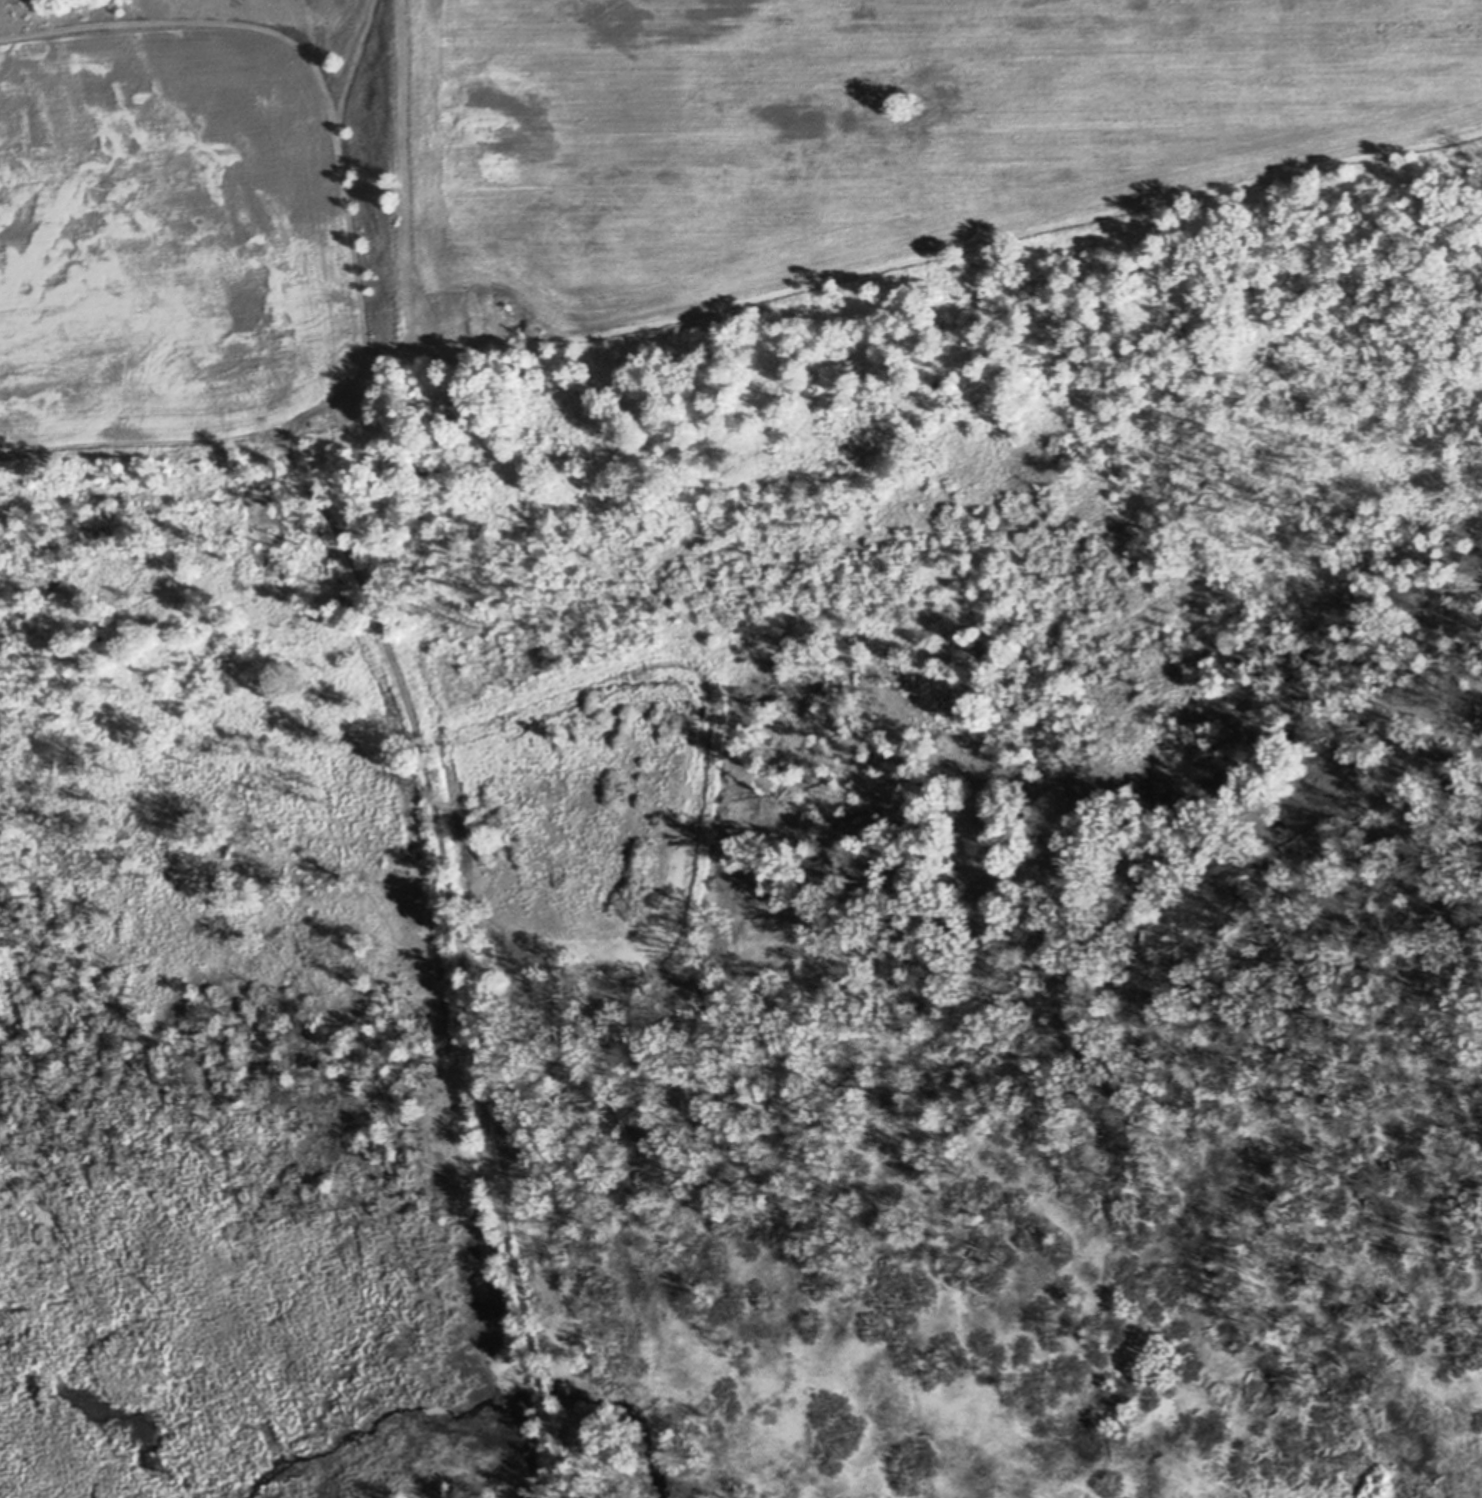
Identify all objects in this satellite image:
road: (51, 28)

